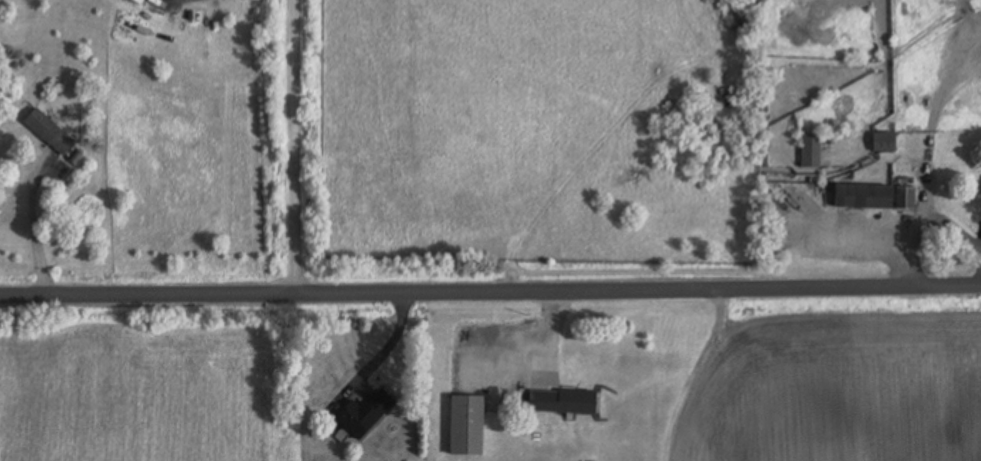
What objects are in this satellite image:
building: (139, 2)
building: (50, 131)
road: (294, 142)
building: (884, 142)
building: (810, 151)
building: (863, 197)
building: (906, 198)
road: (490, 281)
building: (562, 402)
building: (364, 414)
building: (467, 426)

